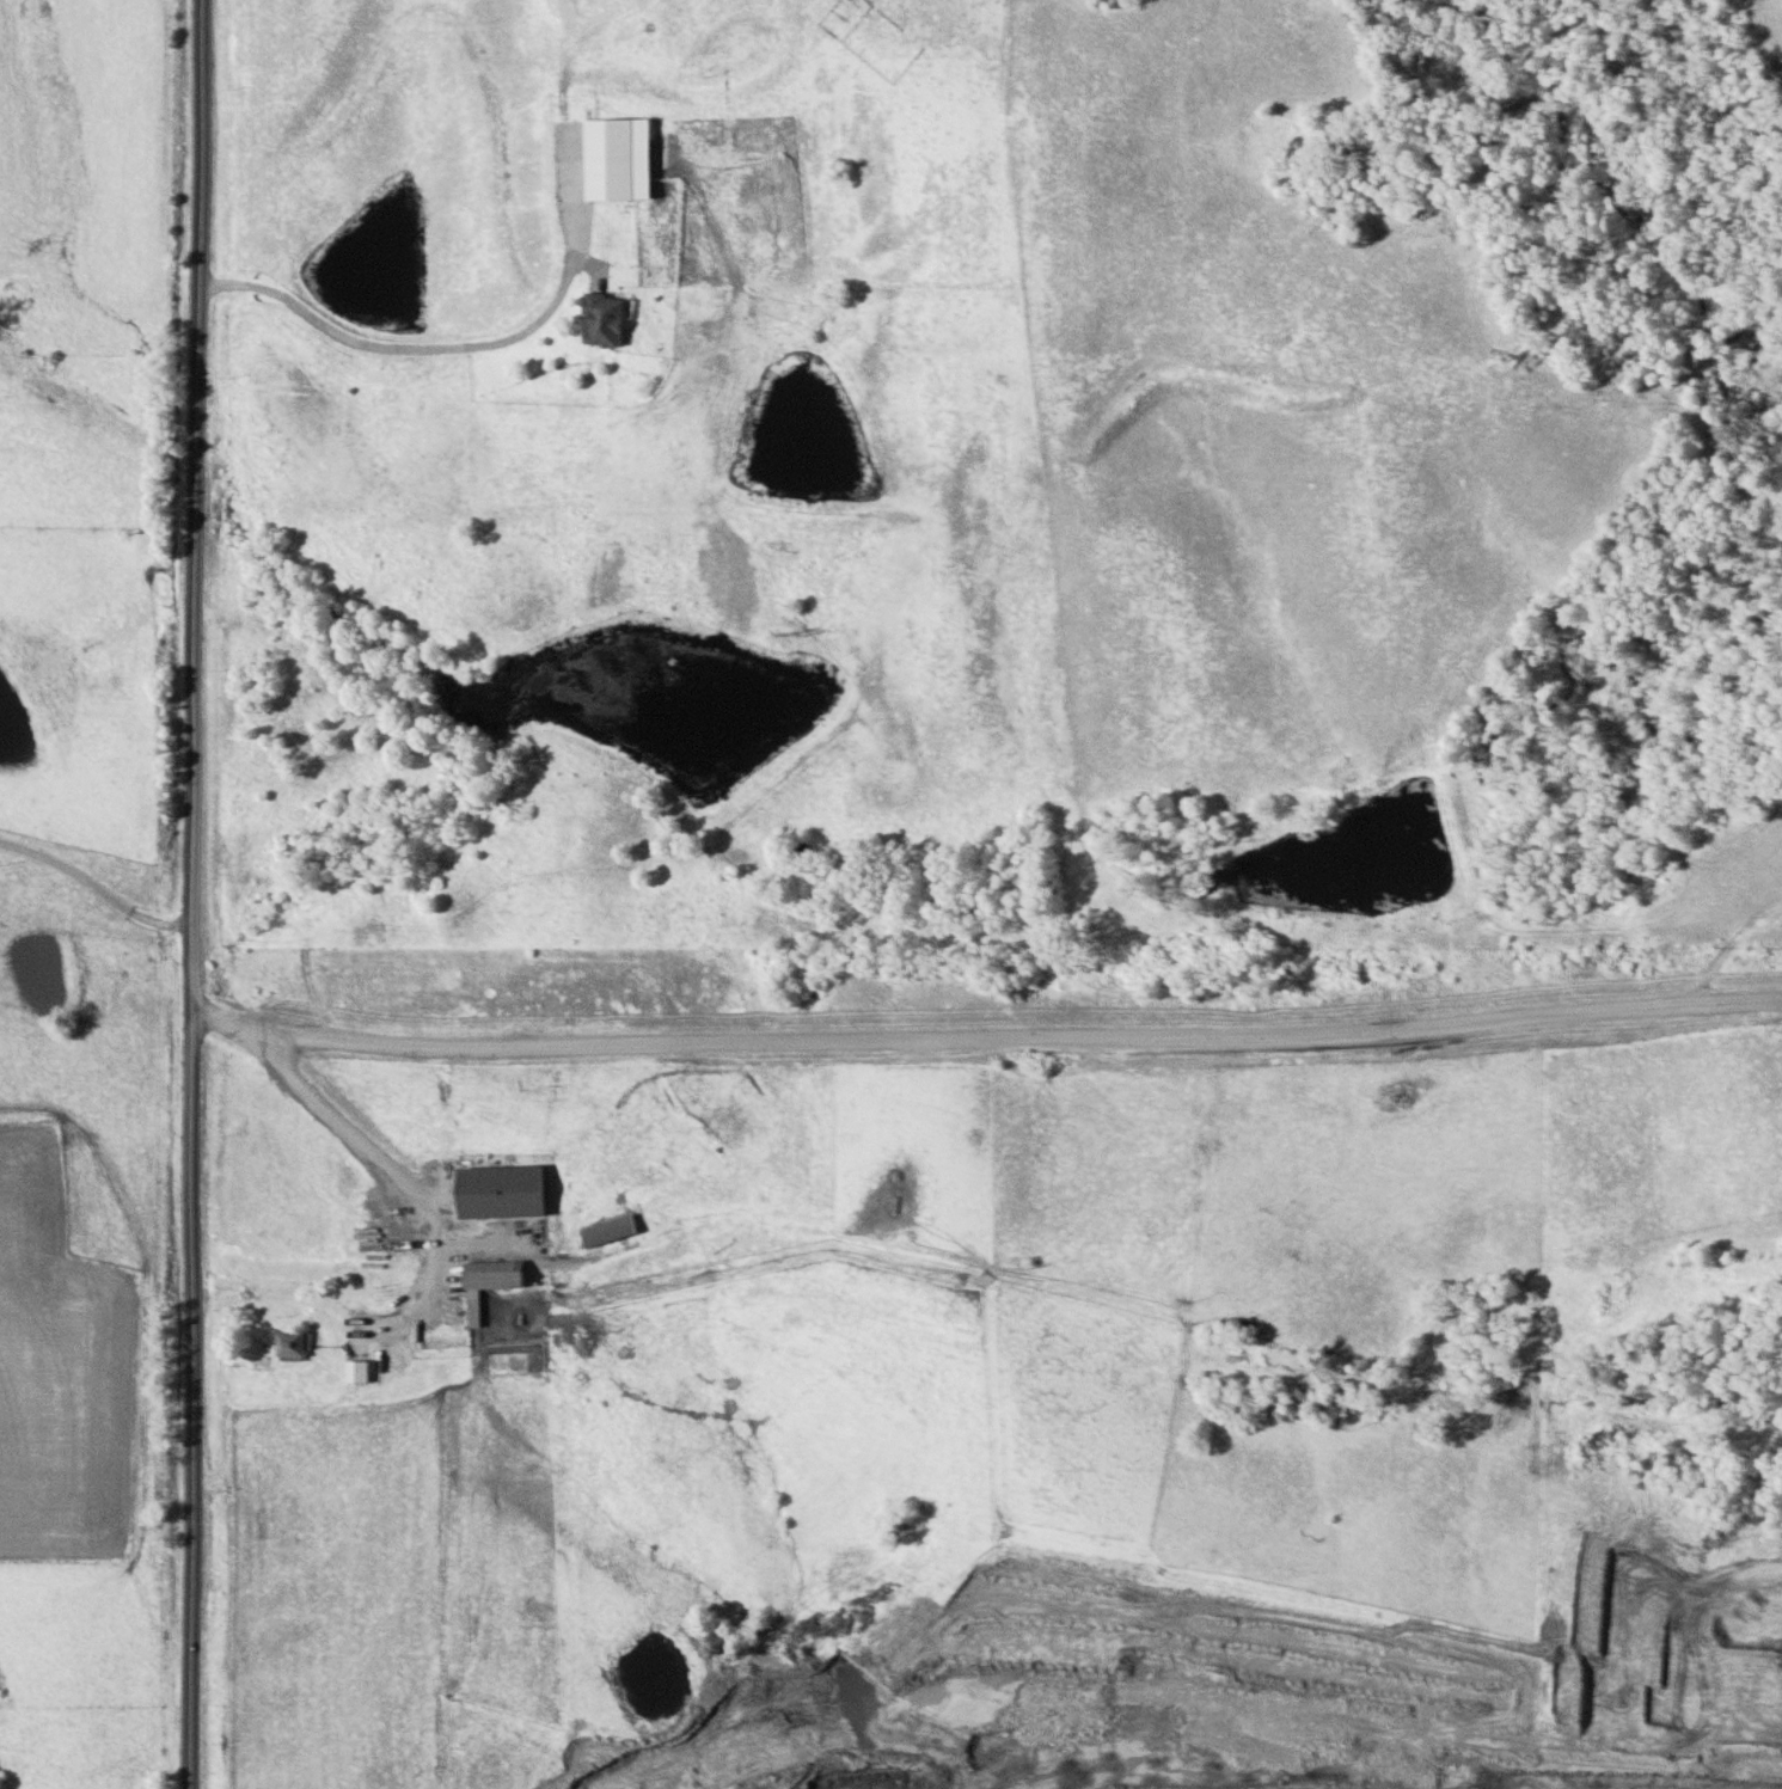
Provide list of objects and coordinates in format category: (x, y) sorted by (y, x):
crop: (1765, 47)
building: (621, 157)
building: (607, 319)
road: (463, 345)
crop: (1739, 877)
road: (96, 886)
road: (190, 894)
road: (984, 1034)
building: (503, 1190)
road: (425, 1220)
building: (611, 1229)
building: (490, 1281)
building: (292, 1344)
building: (359, 1370)

